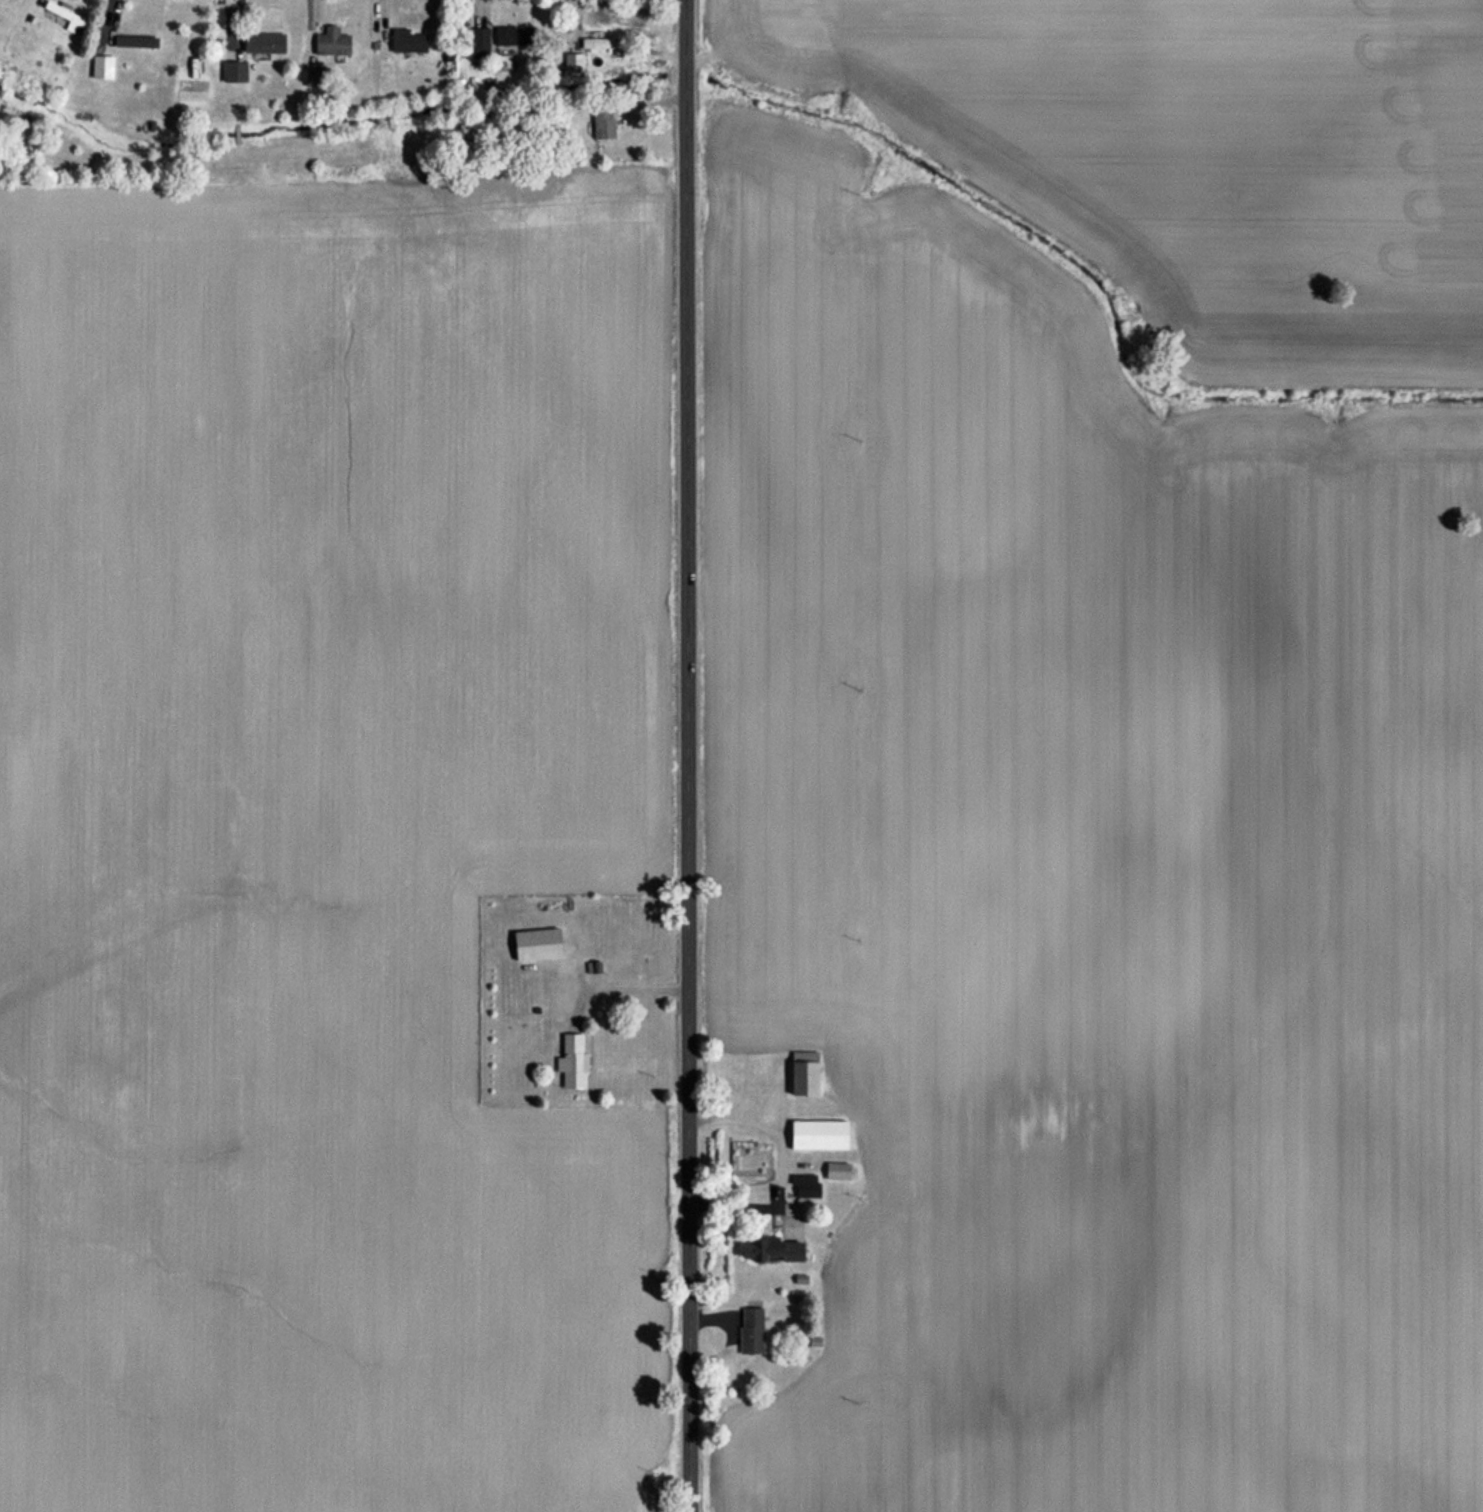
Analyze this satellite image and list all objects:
building: (63, 17)
building: (516, 36)
building: (137, 37)
building: (410, 42)
building: (266, 43)
building: (334, 44)
building: (475, 44)
building: (604, 44)
building: (576, 63)
building: (235, 72)
building: (317, 77)
building: (605, 123)
road: (681, 755)
building: (539, 944)
road: (622, 986)
building: (574, 1062)
building: (806, 1073)
building: (821, 1135)
road: (784, 1157)
building: (840, 1172)
building: (807, 1186)
building: (775, 1251)
building: (753, 1331)

